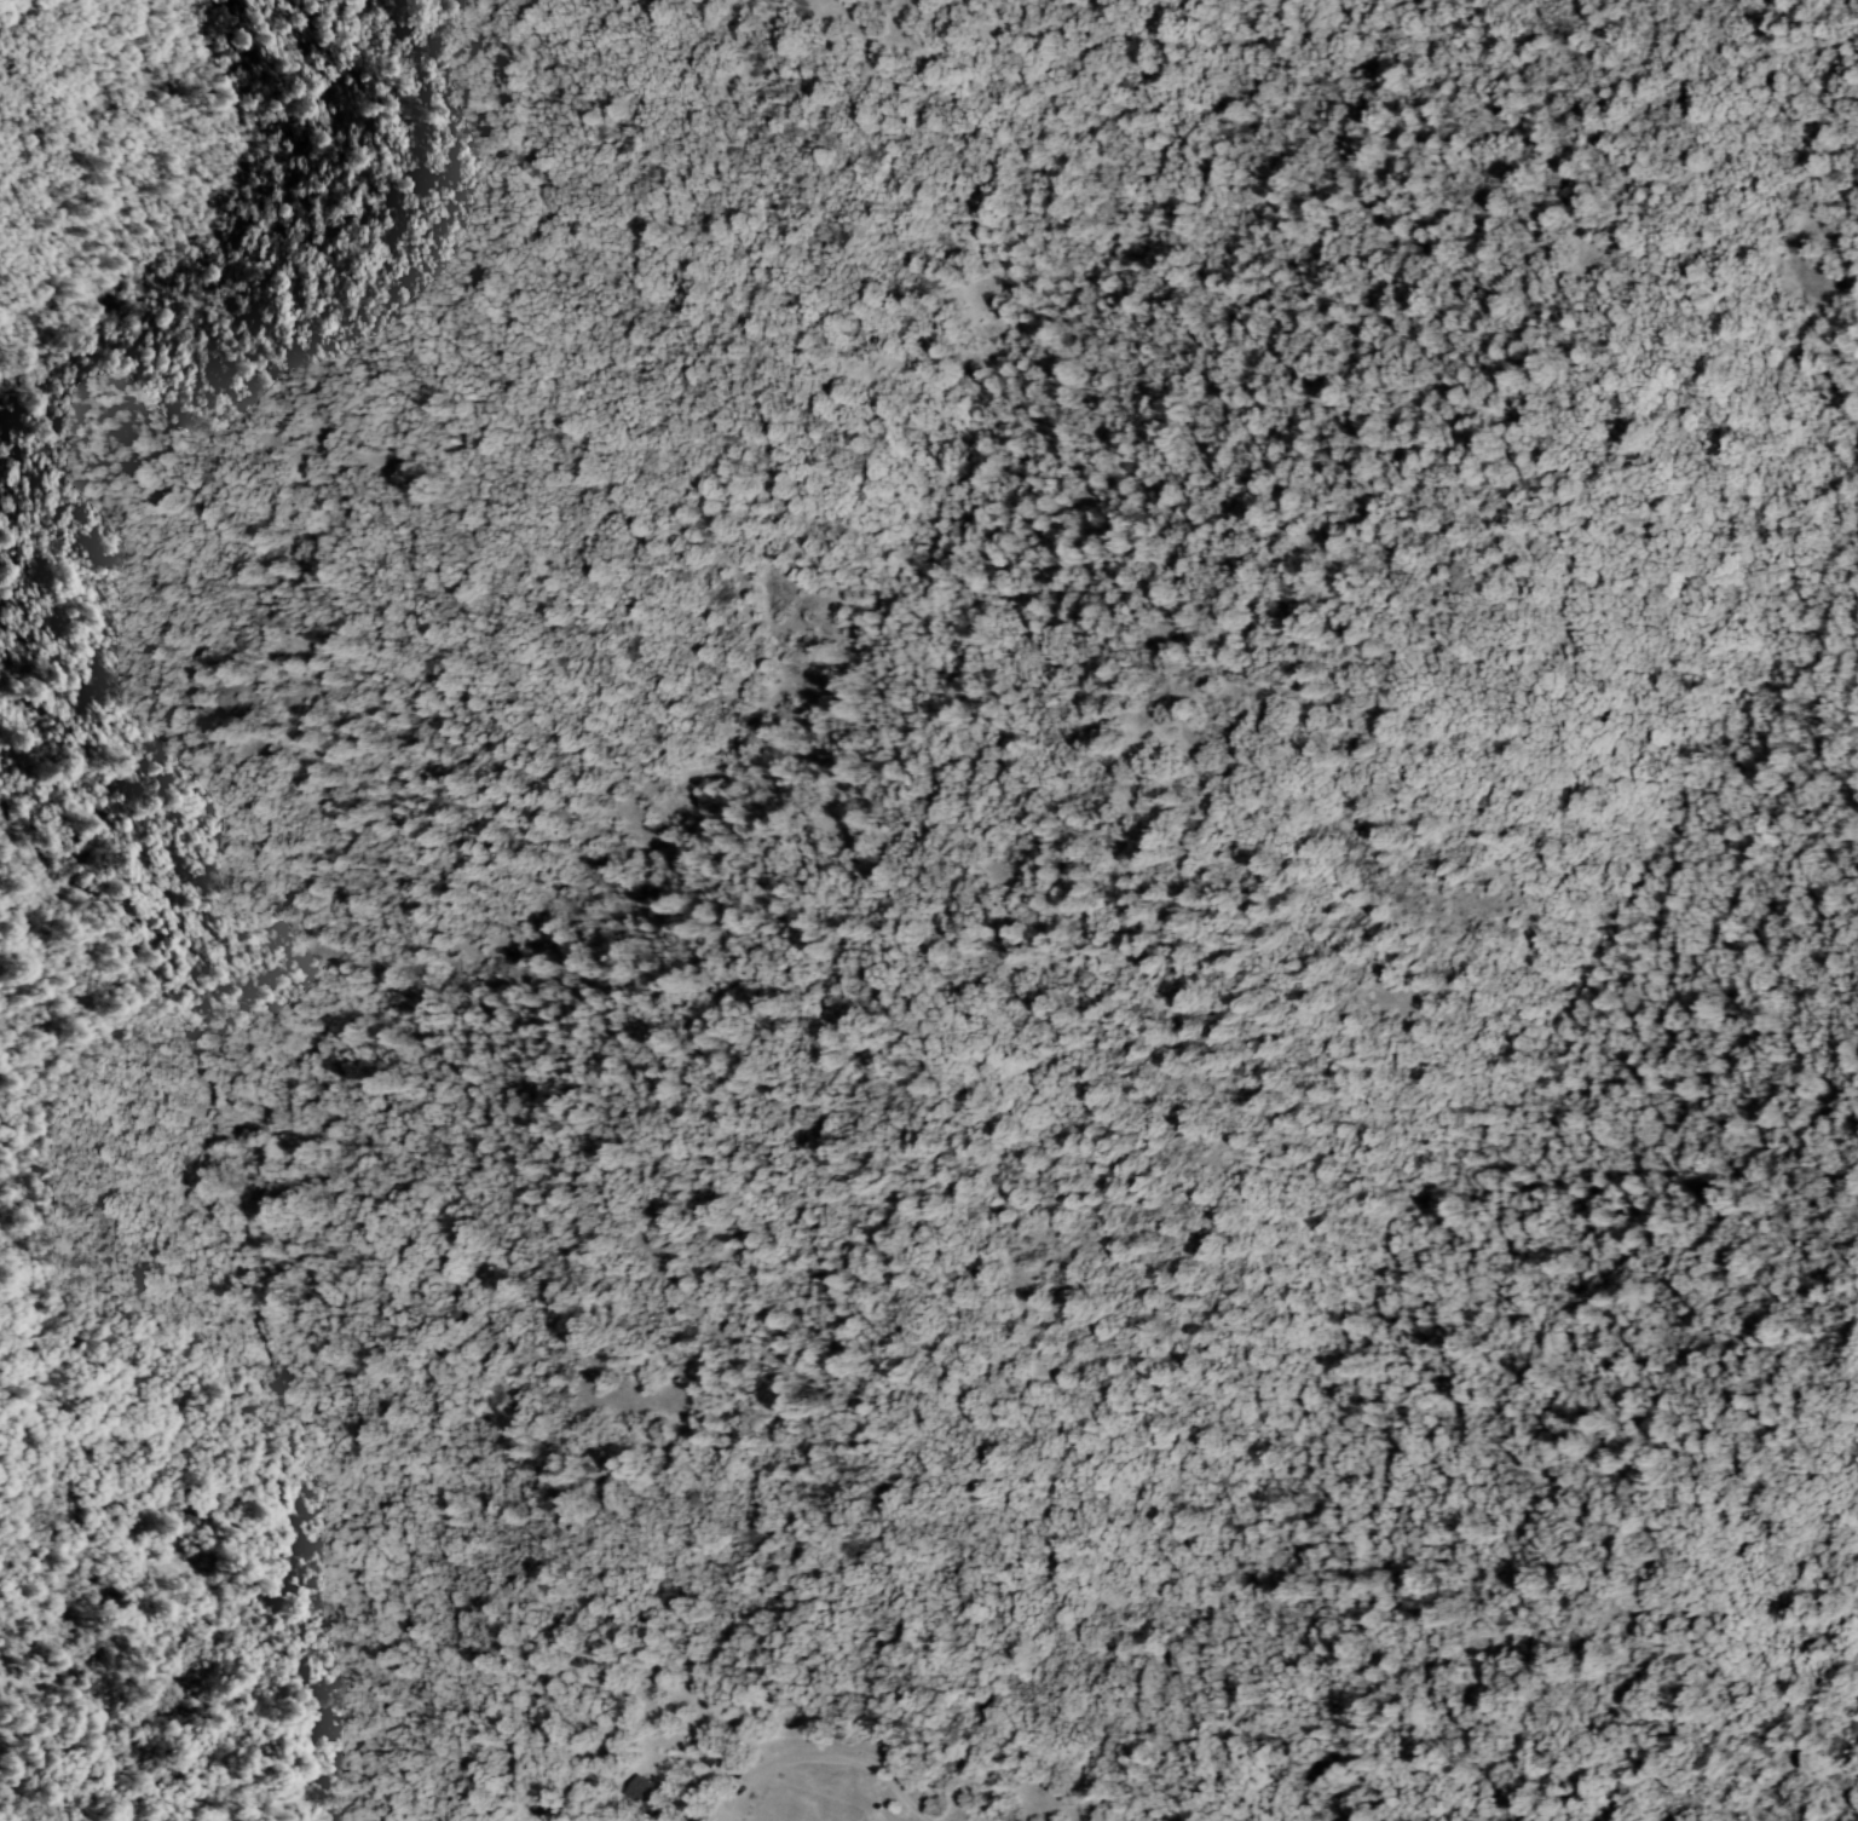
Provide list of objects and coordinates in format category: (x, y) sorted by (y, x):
road: (855, 1762)
building: (645, 1793)

